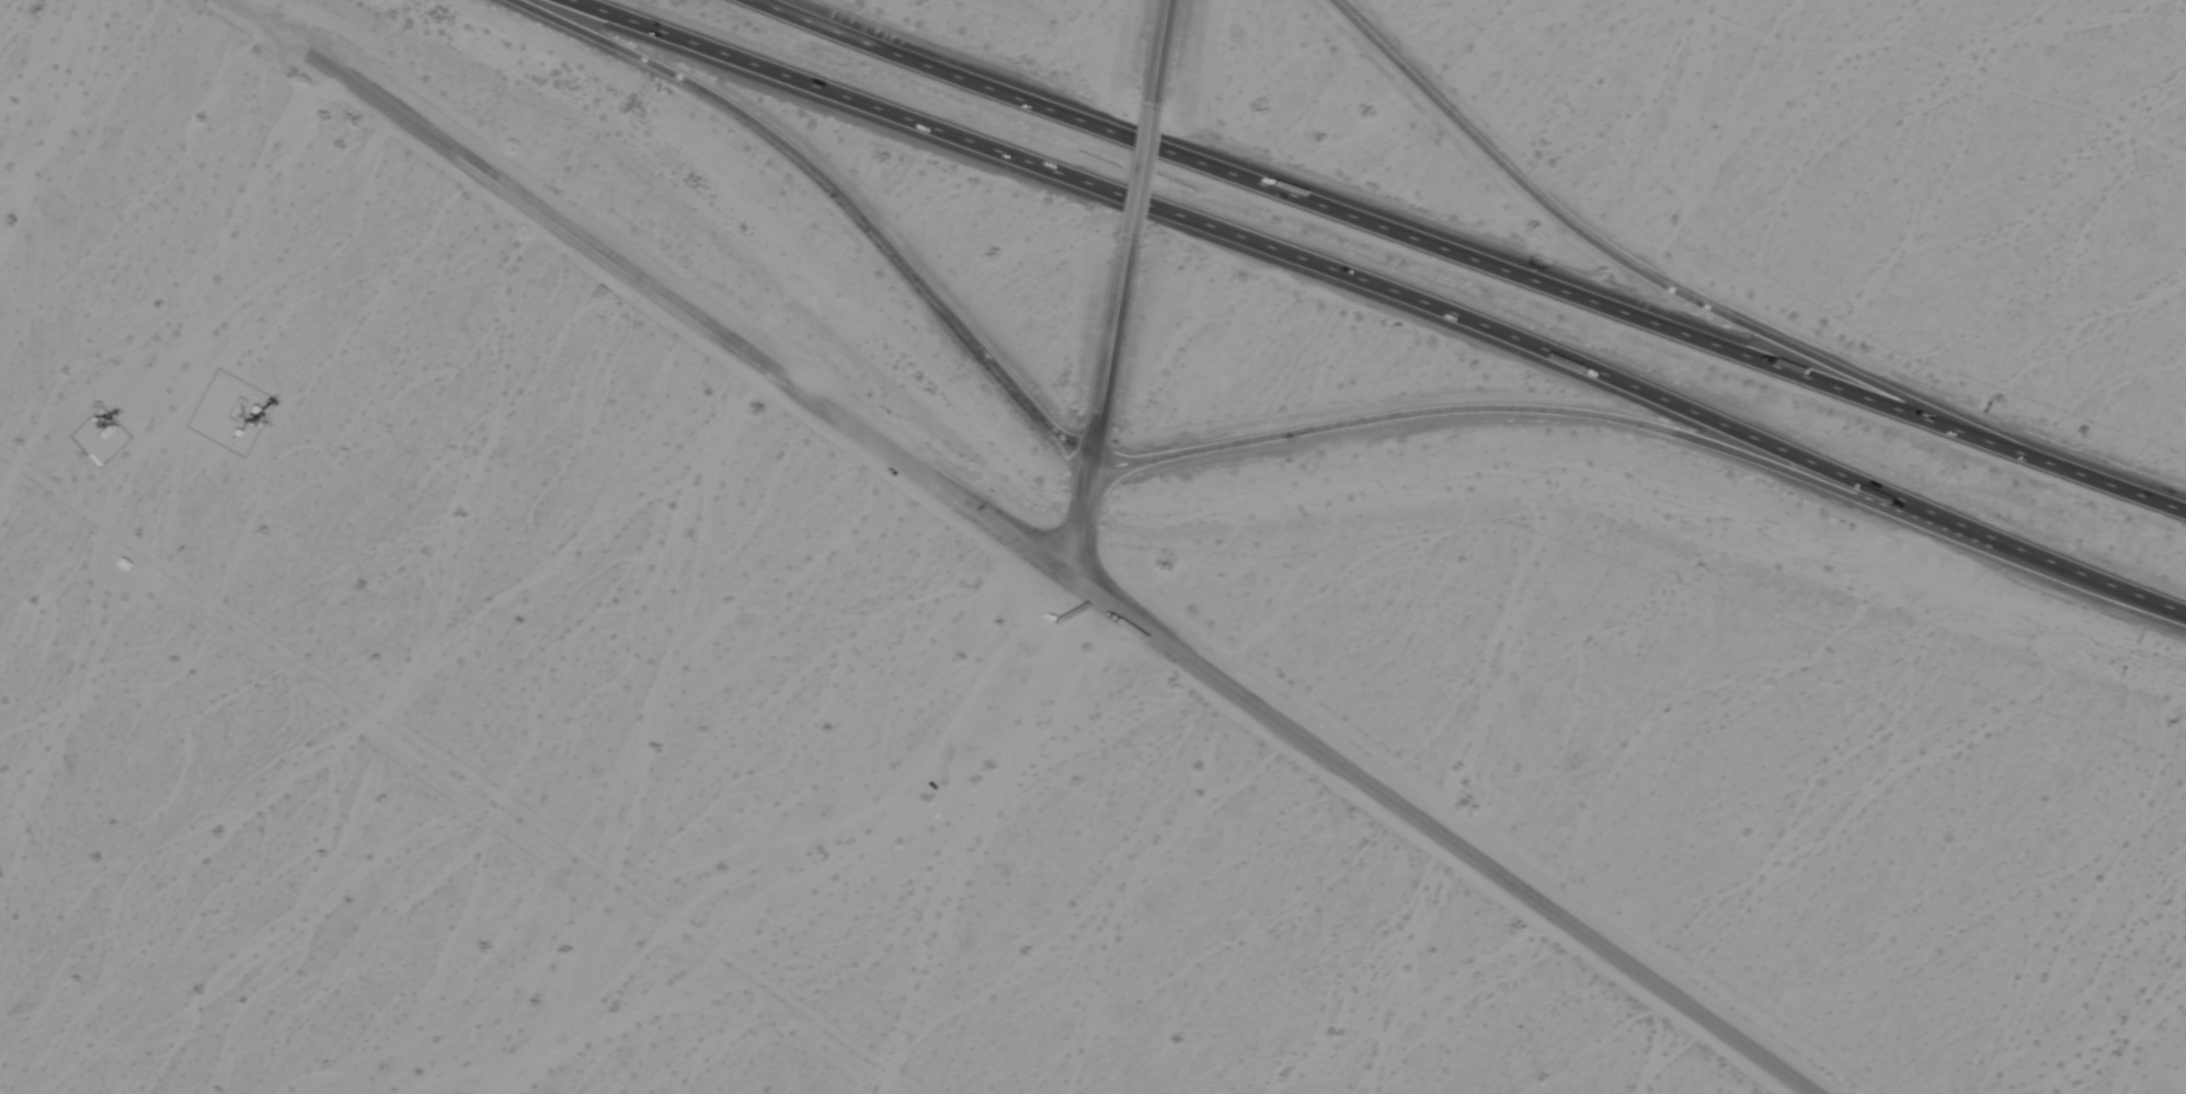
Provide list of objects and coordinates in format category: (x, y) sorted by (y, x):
road: (1157, 46)
road: (1135, 176)
road: (837, 195)
road: (1278, 252)
road: (1618, 253)
road: (1487, 255)
road: (679, 303)
road: (1531, 405)
road: (1095, 416)
road: (2074, 564)
road: (1444, 832)

